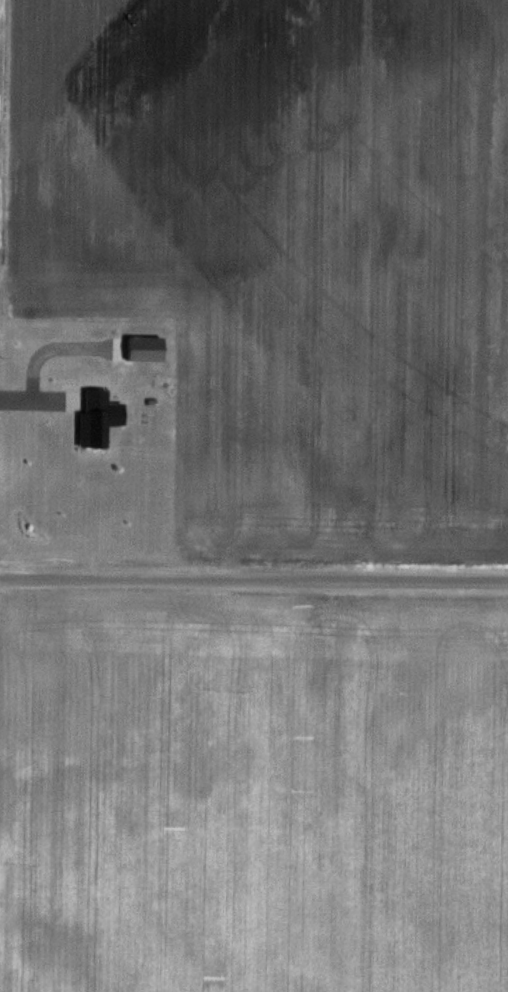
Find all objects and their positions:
road: (254, 586)

